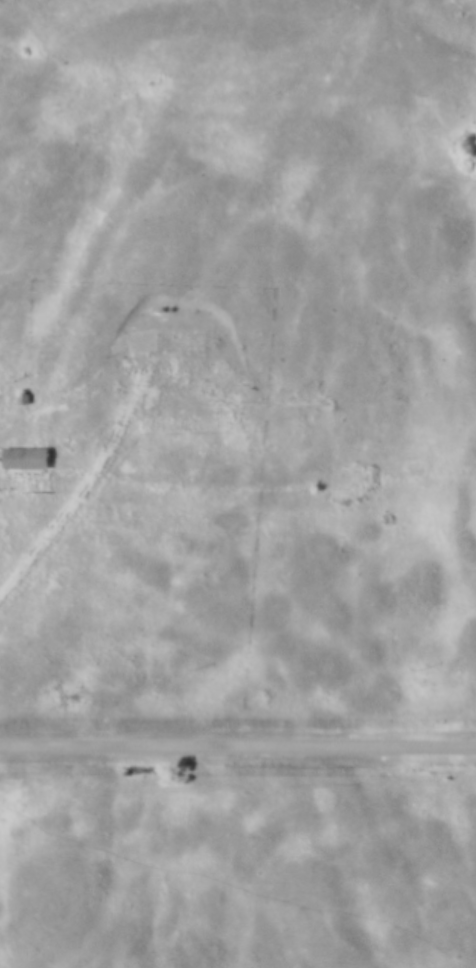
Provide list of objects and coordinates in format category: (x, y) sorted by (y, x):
building: (167, 341)
building: (27, 461)
road: (238, 740)

